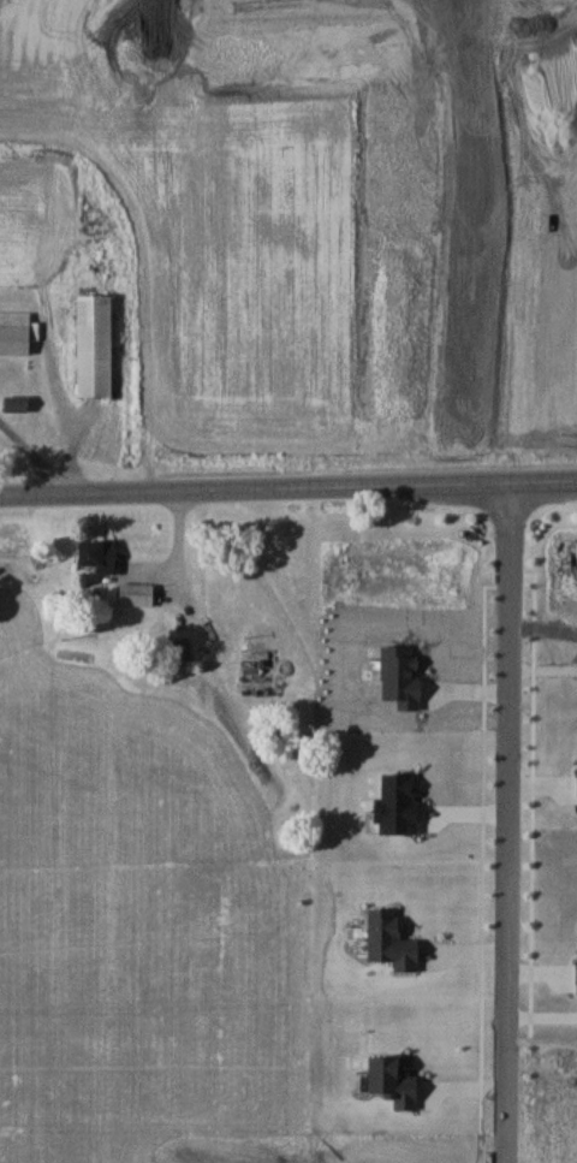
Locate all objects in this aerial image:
road: (518, 238)
building: (16, 332)
building: (97, 344)
building: (17, 403)
road: (69, 446)
road: (34, 461)
road: (287, 486)
building: (100, 554)
building: (137, 594)
building: (180, 647)
building: (399, 676)
building: (576, 784)
building: (394, 803)
road: (510, 820)
road: (534, 859)
road: (484, 864)
building: (387, 943)
building: (575, 974)
building: (387, 1084)
building: (576, 1139)

